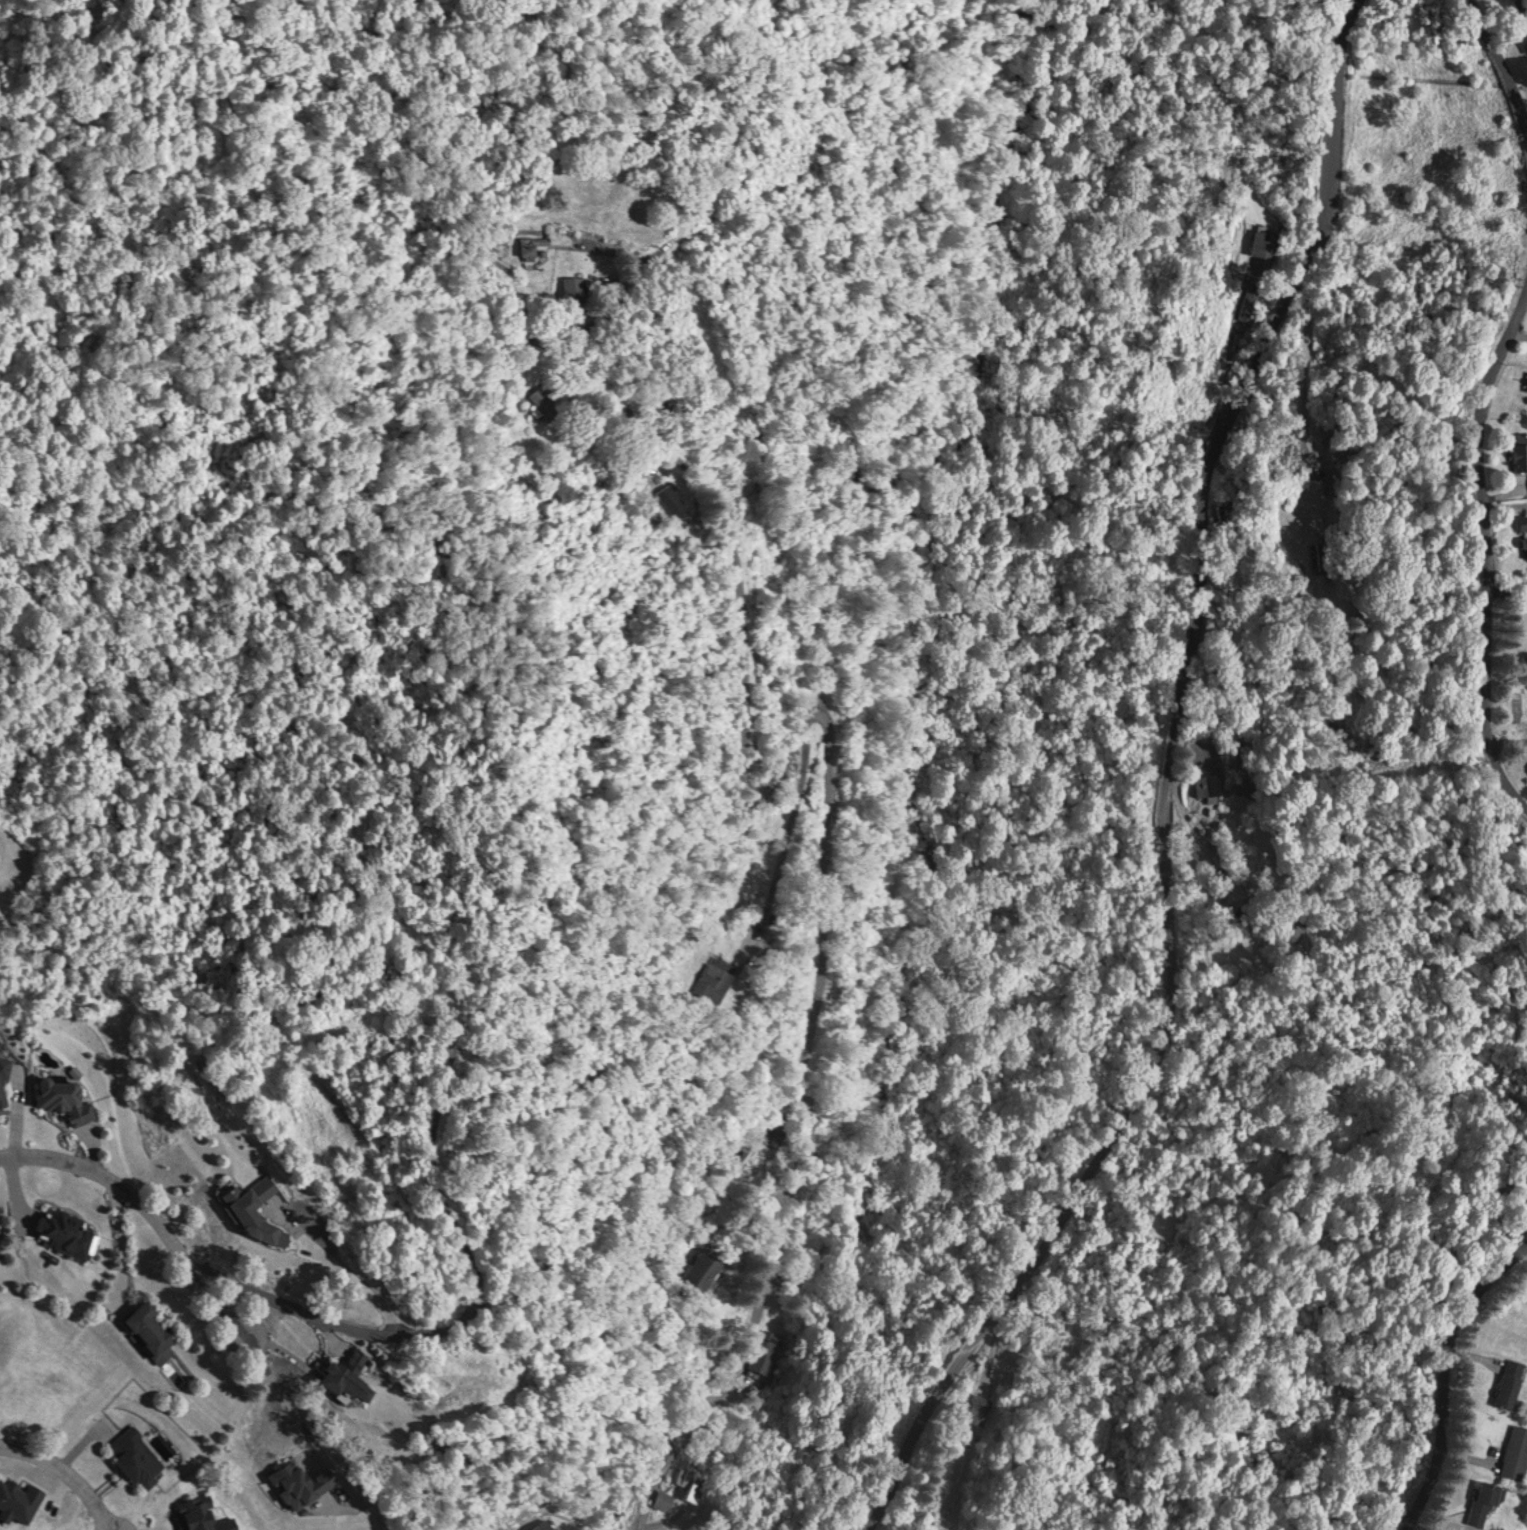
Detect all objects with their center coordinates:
building: (1525, 44)
road: (1500, 56)
building: (1264, 243)
building: (537, 246)
building: (575, 289)
building: (1245, 303)
building: (546, 403)
road: (1490, 543)
building: (1316, 556)
building: (1209, 786)
road: (1167, 792)
road: (829, 801)
building: (1196, 854)
park: (18, 866)
building: (715, 980)
building: (6, 1084)
building: (69, 1096)
road: (145, 1207)
building: (261, 1208)
building: (69, 1229)
building: (2, 1233)
building: (713, 1266)
building: (154, 1327)
building: (763, 1349)
road: (1442, 1370)
building: (355, 1374)
building: (1505, 1383)
building: (976, 1409)
building: (1512, 1451)
building: (140, 1454)
road: (66, 1473)
building: (690, 1480)
building: (306, 1483)
building: (661, 1500)
building: (1479, 1501)
building: (211, 1515)

